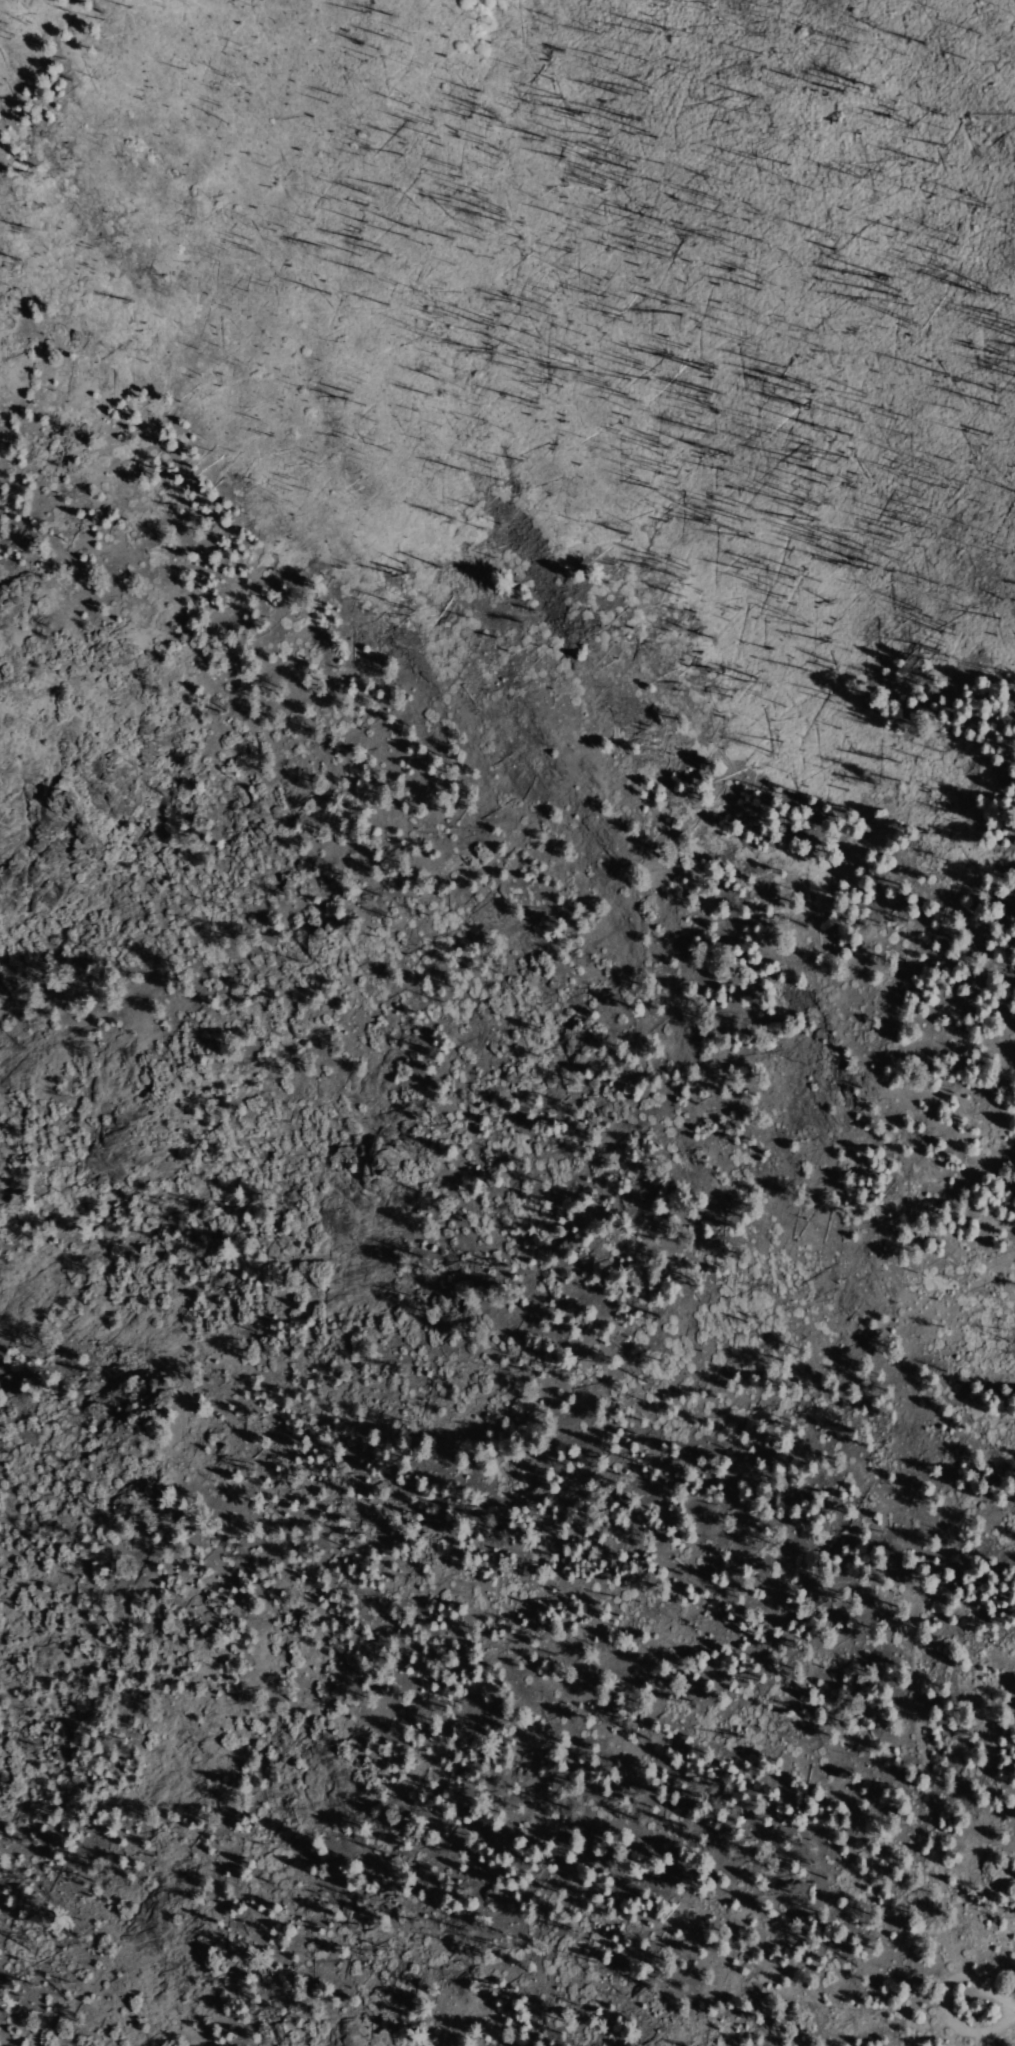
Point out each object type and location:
road: (946, 2000)

